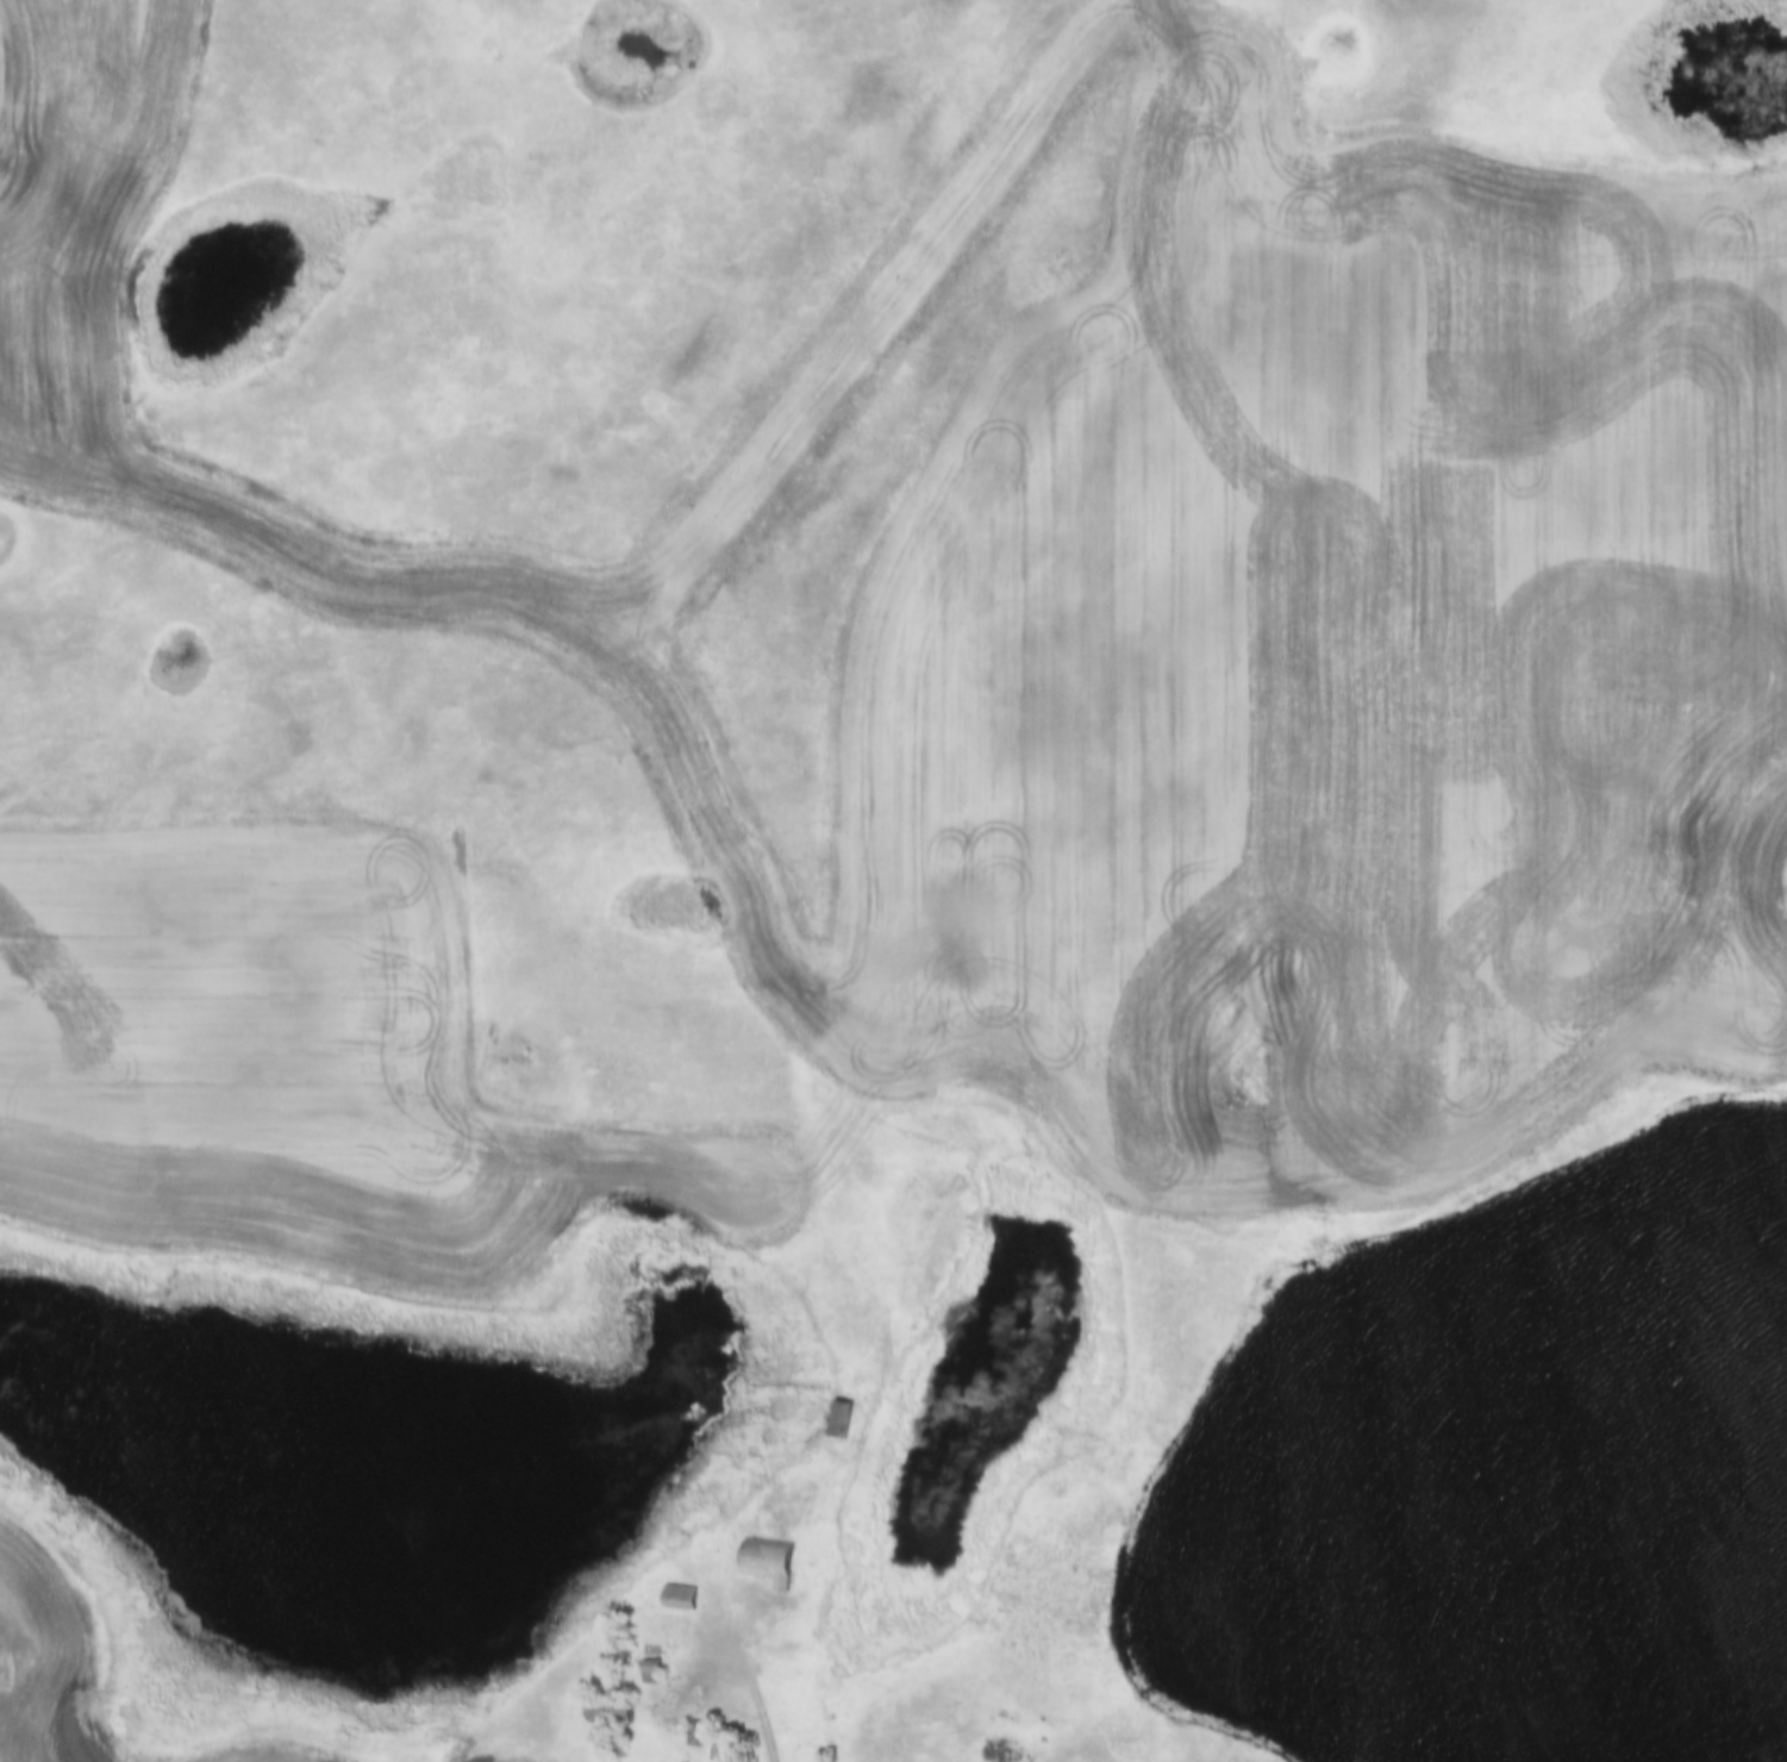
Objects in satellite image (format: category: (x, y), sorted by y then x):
building: (839, 1419)
building: (767, 1561)
building: (677, 1597)
building: (650, 1669)
road: (756, 1680)
building: (608, 1712)
building: (695, 1735)
building: (724, 1743)

